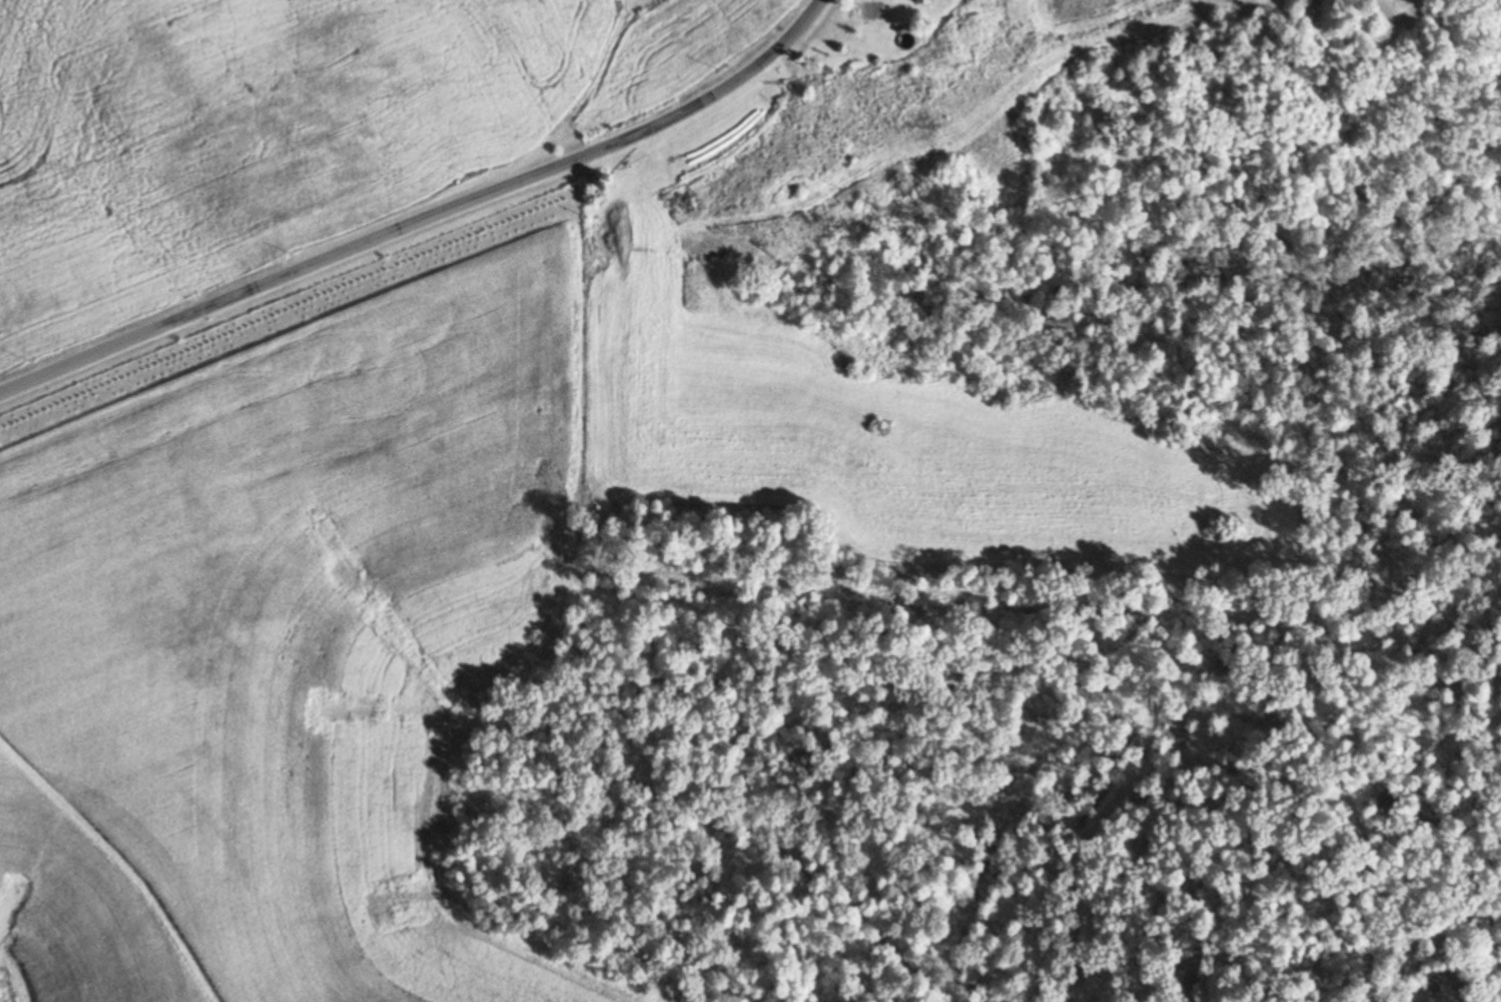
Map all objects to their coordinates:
building: (909, 0)
road: (421, 222)

